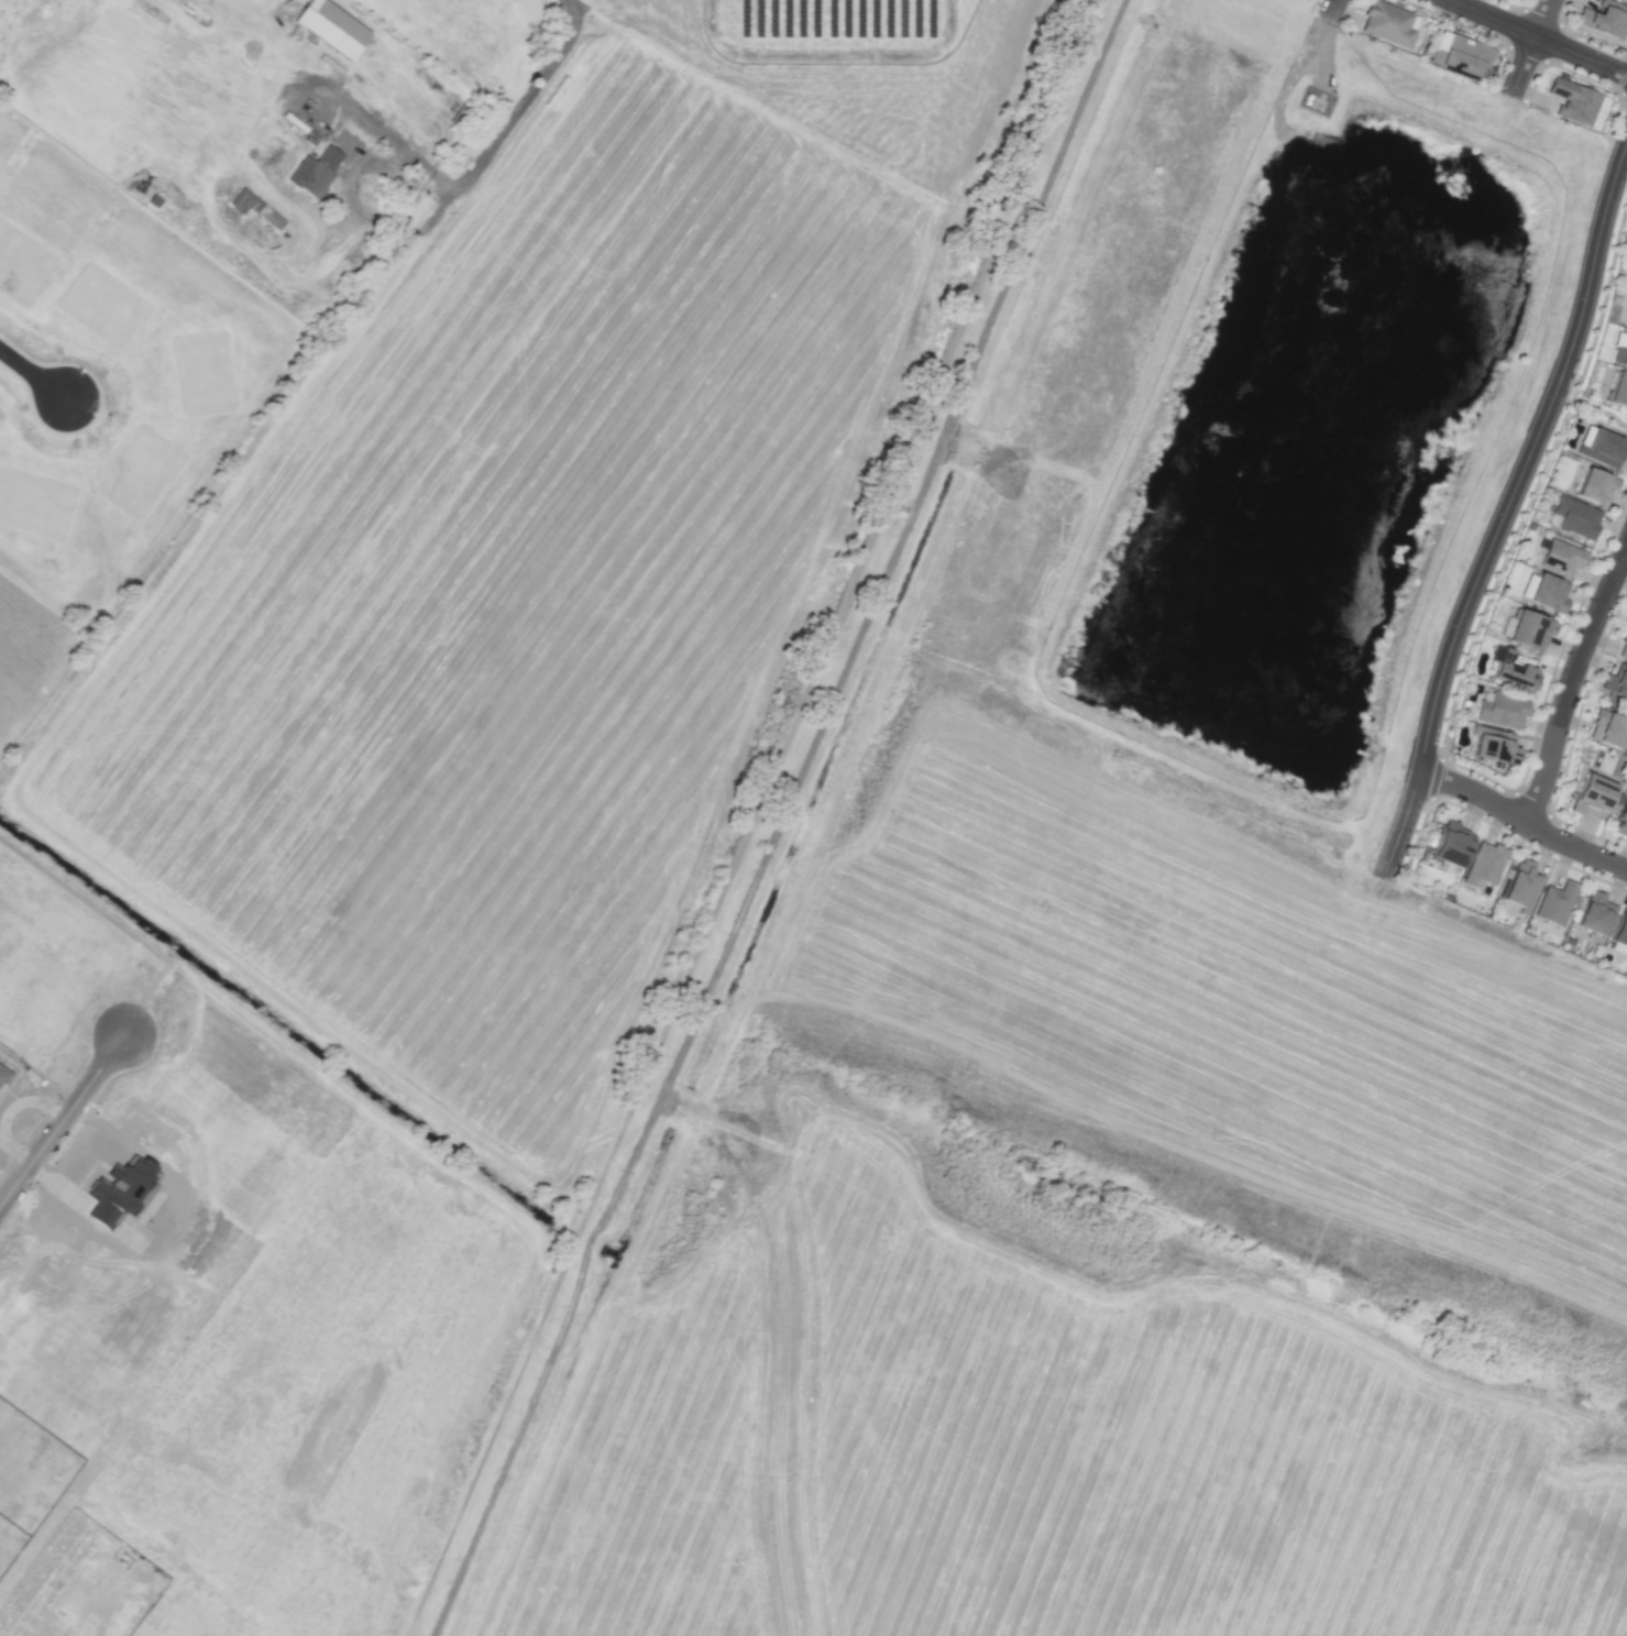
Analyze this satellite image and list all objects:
building: (1626, 0)
road: (1331, 8)
street lamp: (1440, 12)
building: (1604, 19)
building: (1387, 22)
building: (332, 28)
road: (1540, 37)
road: (1528, 47)
building: (1463, 55)
building: (1573, 100)
road: (507, 118)
road: (388, 134)
building: (315, 171)
street lamp: (1624, 197)
building: (241, 200)
building: (1620, 353)
road: (32, 377)
building: (1617, 389)
park: (1596, 409)
street lamp: (1561, 418)
building: (1601, 447)
building: (1594, 486)
road: (1506, 508)
building: (1575, 517)
building: (1560, 557)
building: (1543, 591)
street lamp: (1440, 623)
building: (1526, 629)
building: (1623, 647)
building: (1508, 669)
road: (1571, 678)
building: (1616, 681)
building: (1500, 711)
building: (1607, 728)
building: (1494, 748)
building: (1609, 764)
building: (1592, 795)
building: (1620, 817)
road: (770, 819)
road: (1522, 819)
road: (779, 824)
street lamp: (1520, 841)
building: (1451, 845)
street lamp: (1371, 859)
building: (1484, 865)
building: (1520, 885)
building: (1554, 902)
building: (1619, 931)
crop: (1216, 1007)
road: (61, 1120)
crop: (359, 1342)
road: (1491, 1458)

